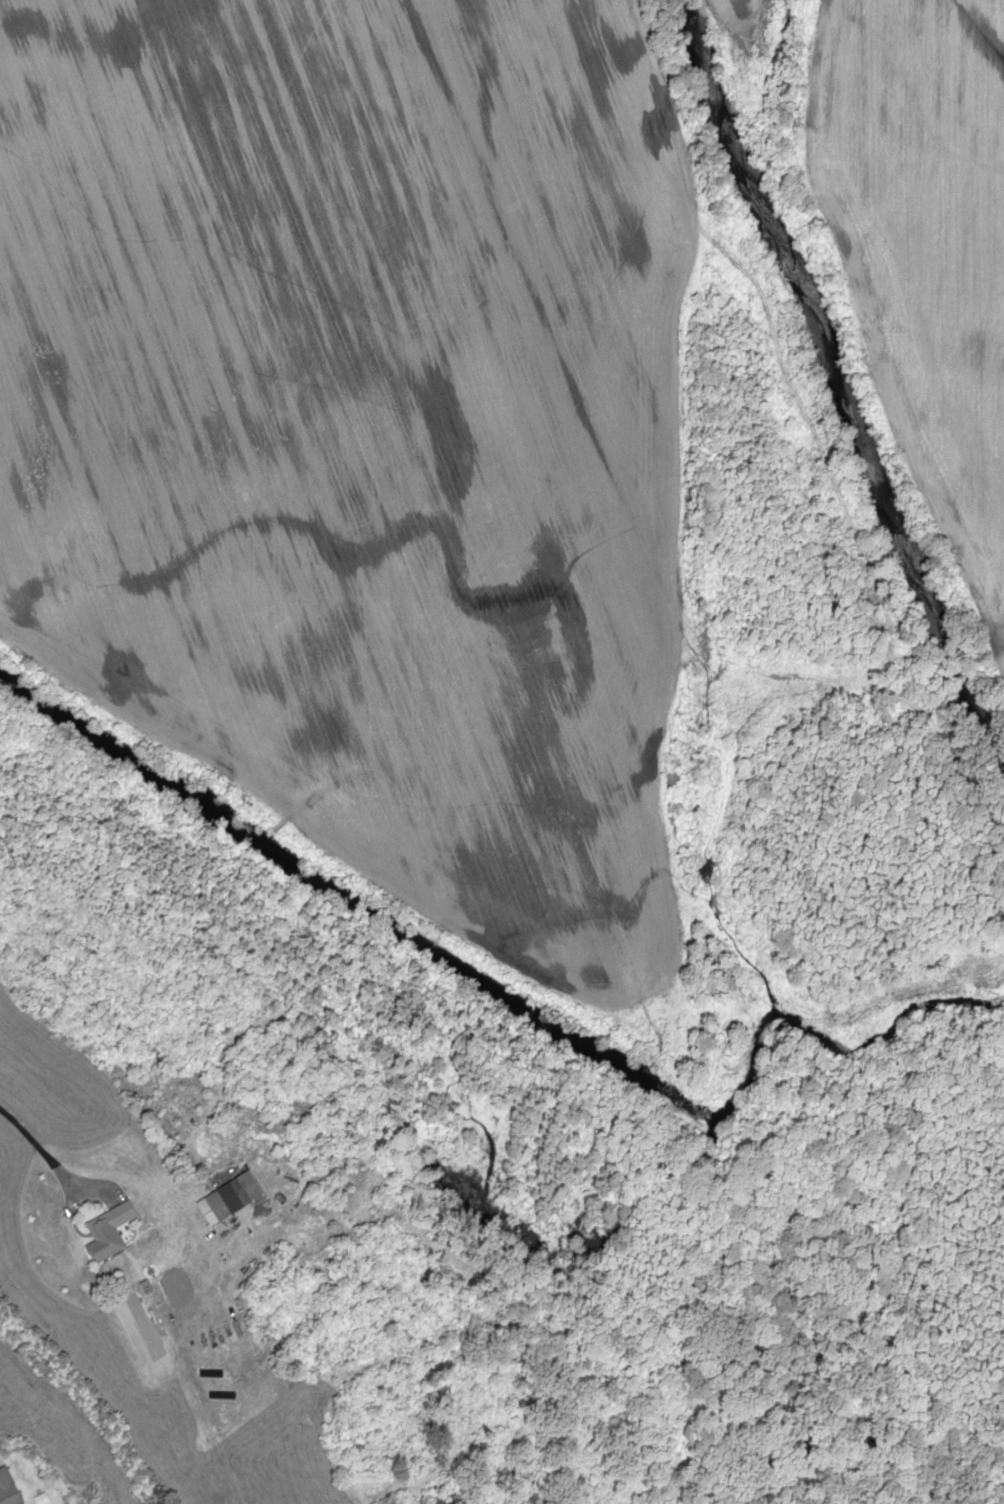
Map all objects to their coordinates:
river: (832, 384)
building: (216, 1203)
building: (105, 1231)
building: (6, 1489)

